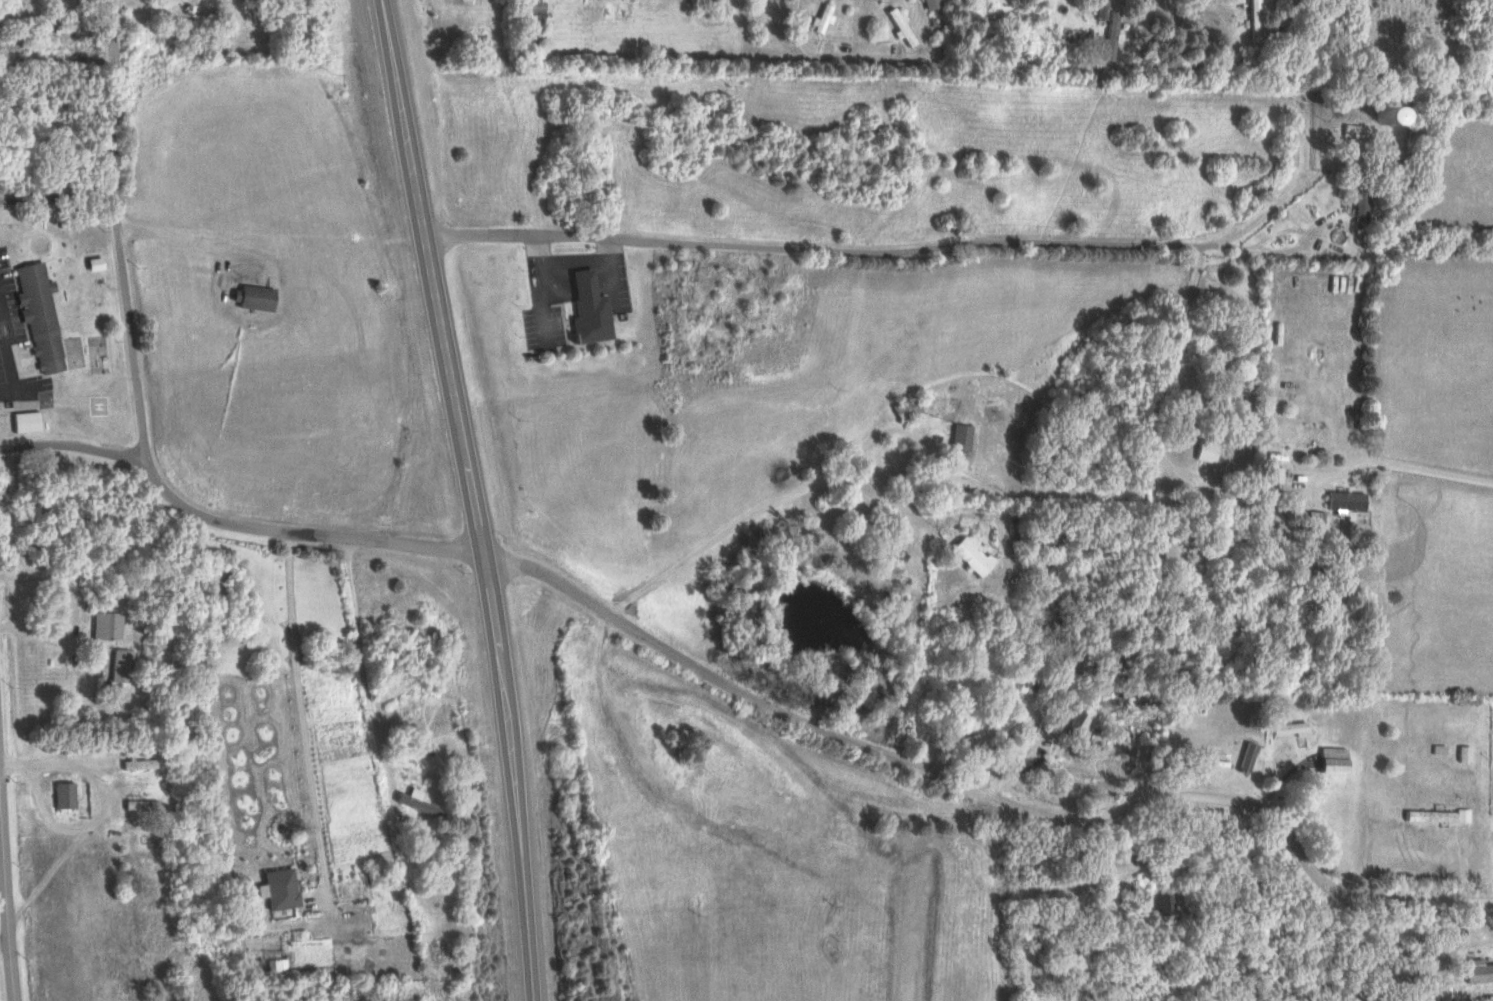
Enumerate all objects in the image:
building: (932, 3)
building: (536, 8)
building: (822, 17)
building: (901, 25)
building: (1109, 27)
road: (843, 54)
building: (1380, 113)
road: (1286, 193)
road: (57, 194)
building: (1357, 199)
road: (116, 231)
road: (1290, 247)
road: (819, 250)
building: (91, 262)
road: (536, 266)
park: (70, 285)
building: (250, 295)
building: (586, 308)
building: (37, 312)
helipad: (95, 405)
building: (904, 407)
building: (20, 420)
building: (958, 436)
road: (72, 444)
building: (1201, 450)
road: (1401, 466)
building: (1270, 474)
road: (469, 499)
building: (1341, 502)
building: (1191, 518)
building: (1311, 519)
building: (967, 554)
building: (103, 624)
road: (359, 654)
building: (118, 665)
road: (815, 719)
building: (1079, 719)
building: (1285, 728)
building: (977, 740)
building: (1434, 749)
building: (1459, 752)
building: (1242, 756)
building: (136, 763)
building: (1491, 763)
building: (1326, 764)
building: (61, 794)
building: (417, 802)
building: (139, 804)
building: (1424, 815)
building: (1124, 845)
building: (278, 888)
road: (6, 902)
building: (1159, 907)
building: (275, 964)
building: (1473, 970)

